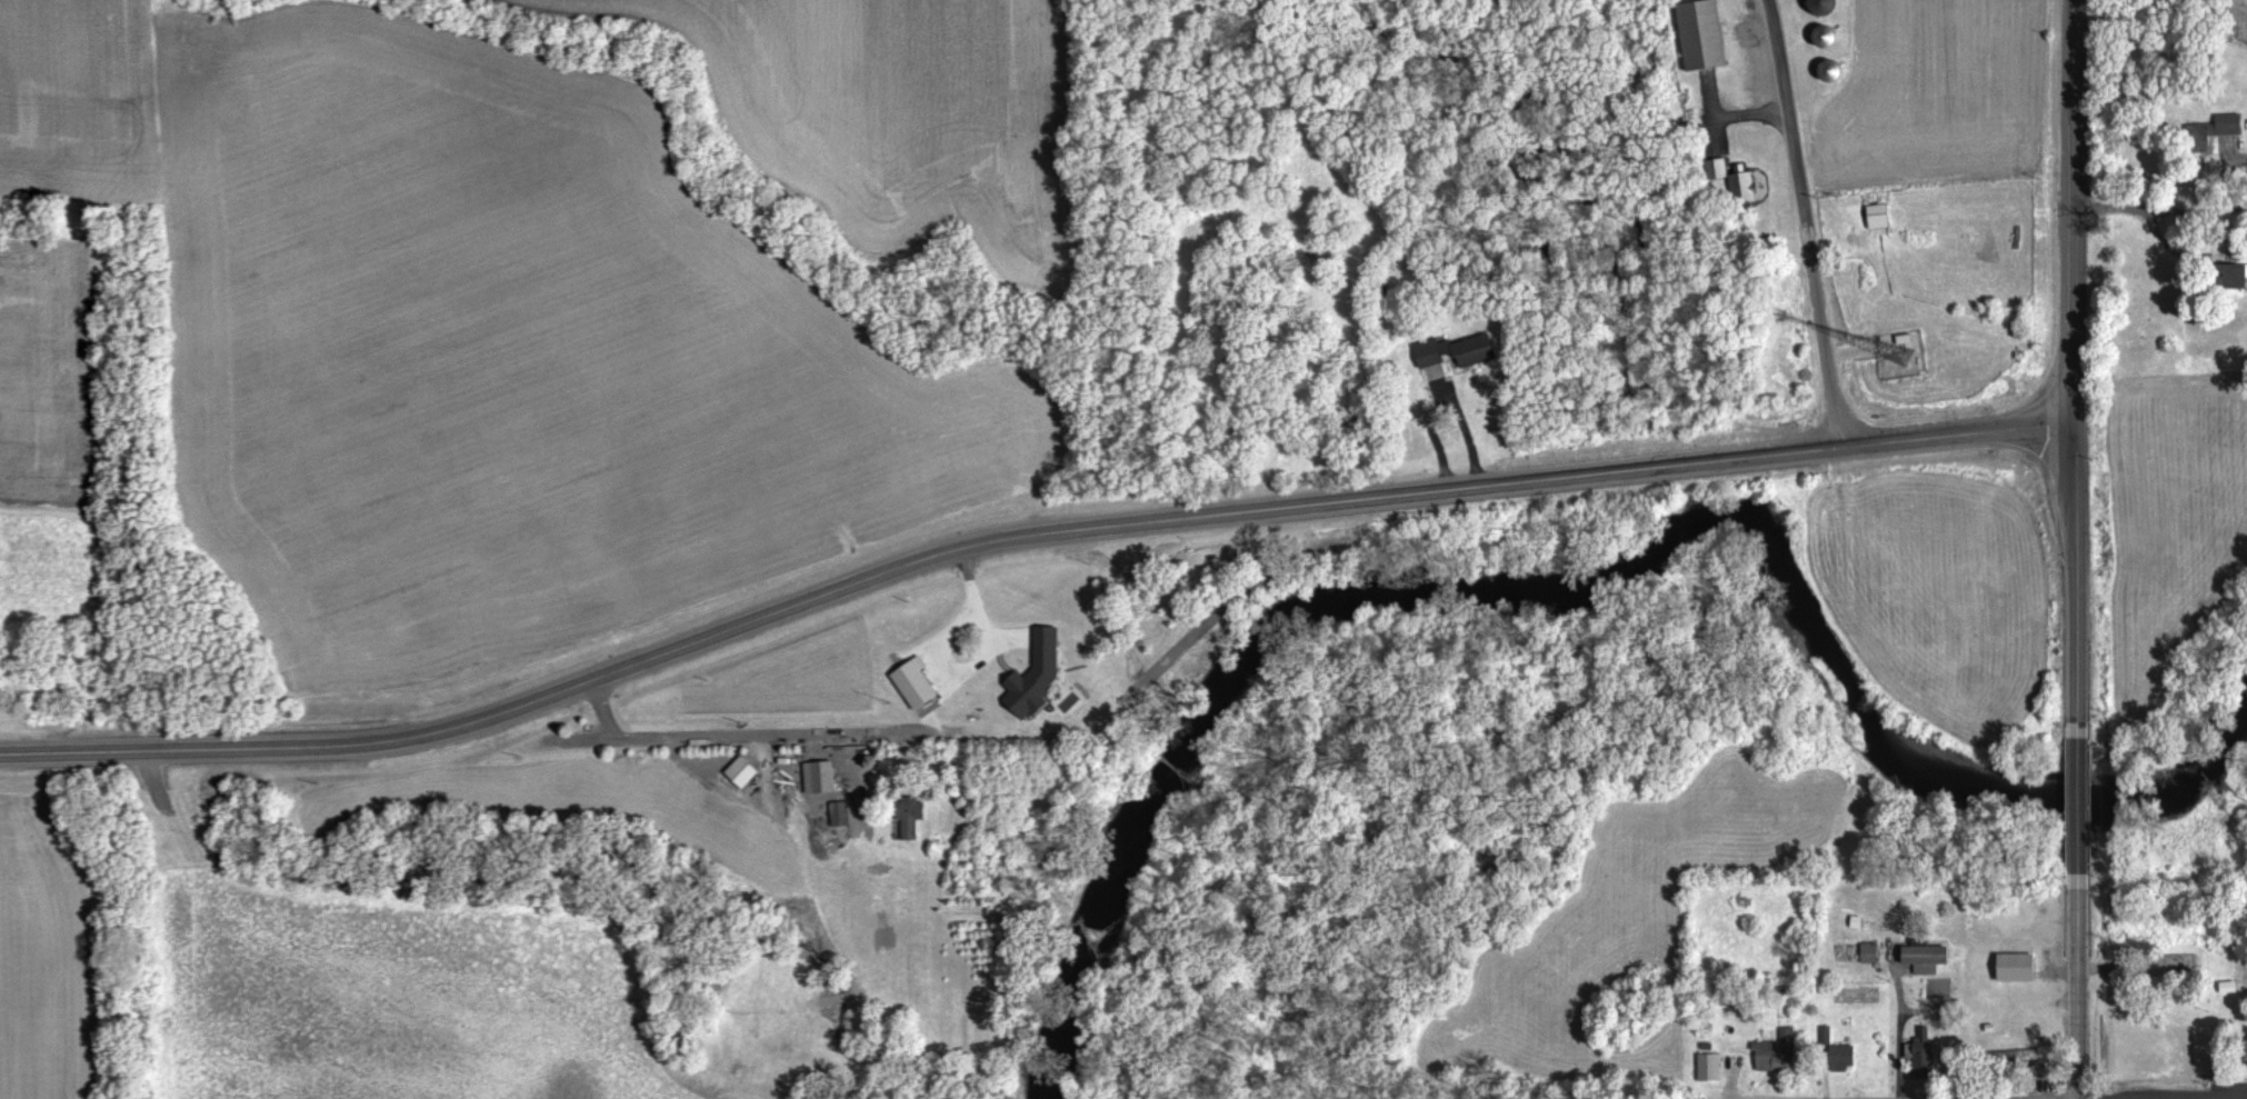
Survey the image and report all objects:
building: (1830, 8)
building: (1708, 37)
building: (1831, 38)
building: (2223, 128)
building: (1721, 170)
road: (2071, 213)
building: (1883, 218)
road: (1807, 222)
building: (2244, 277)
building: (1460, 352)
road: (1020, 537)
road: (2071, 573)
building: (1040, 677)
building: (920, 686)
road: (680, 738)
building: (747, 773)
building: (823, 779)
road: (2075, 812)
building: (843, 816)
building: (1874, 955)
building: (1931, 958)
road: (2074, 1001)
road: (1901, 1031)
building: (1780, 1052)
building: (1926, 1055)
building: (2027, 1057)
building: (1712, 1068)
road: (1755, 1098)
road: (1928, 1098)
road: (2205, 1098)
road: (2209, 1098)

